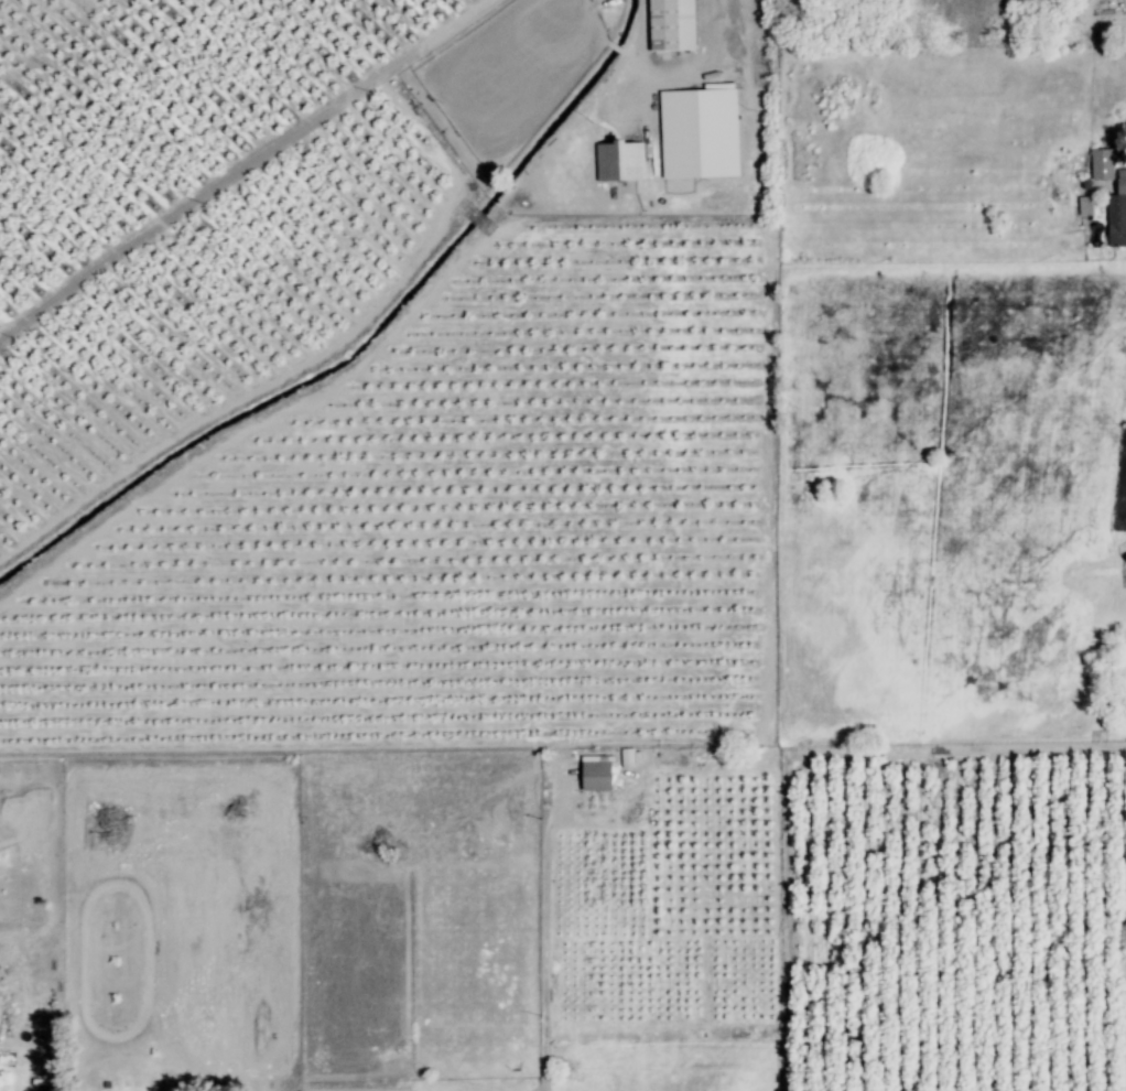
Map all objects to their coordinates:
building: (670, 25)
road: (679, 69)
building: (697, 134)
building: (618, 163)
building: (1100, 166)
building: (1083, 207)
building: (1117, 214)
building: (706, 756)
building: (594, 775)

